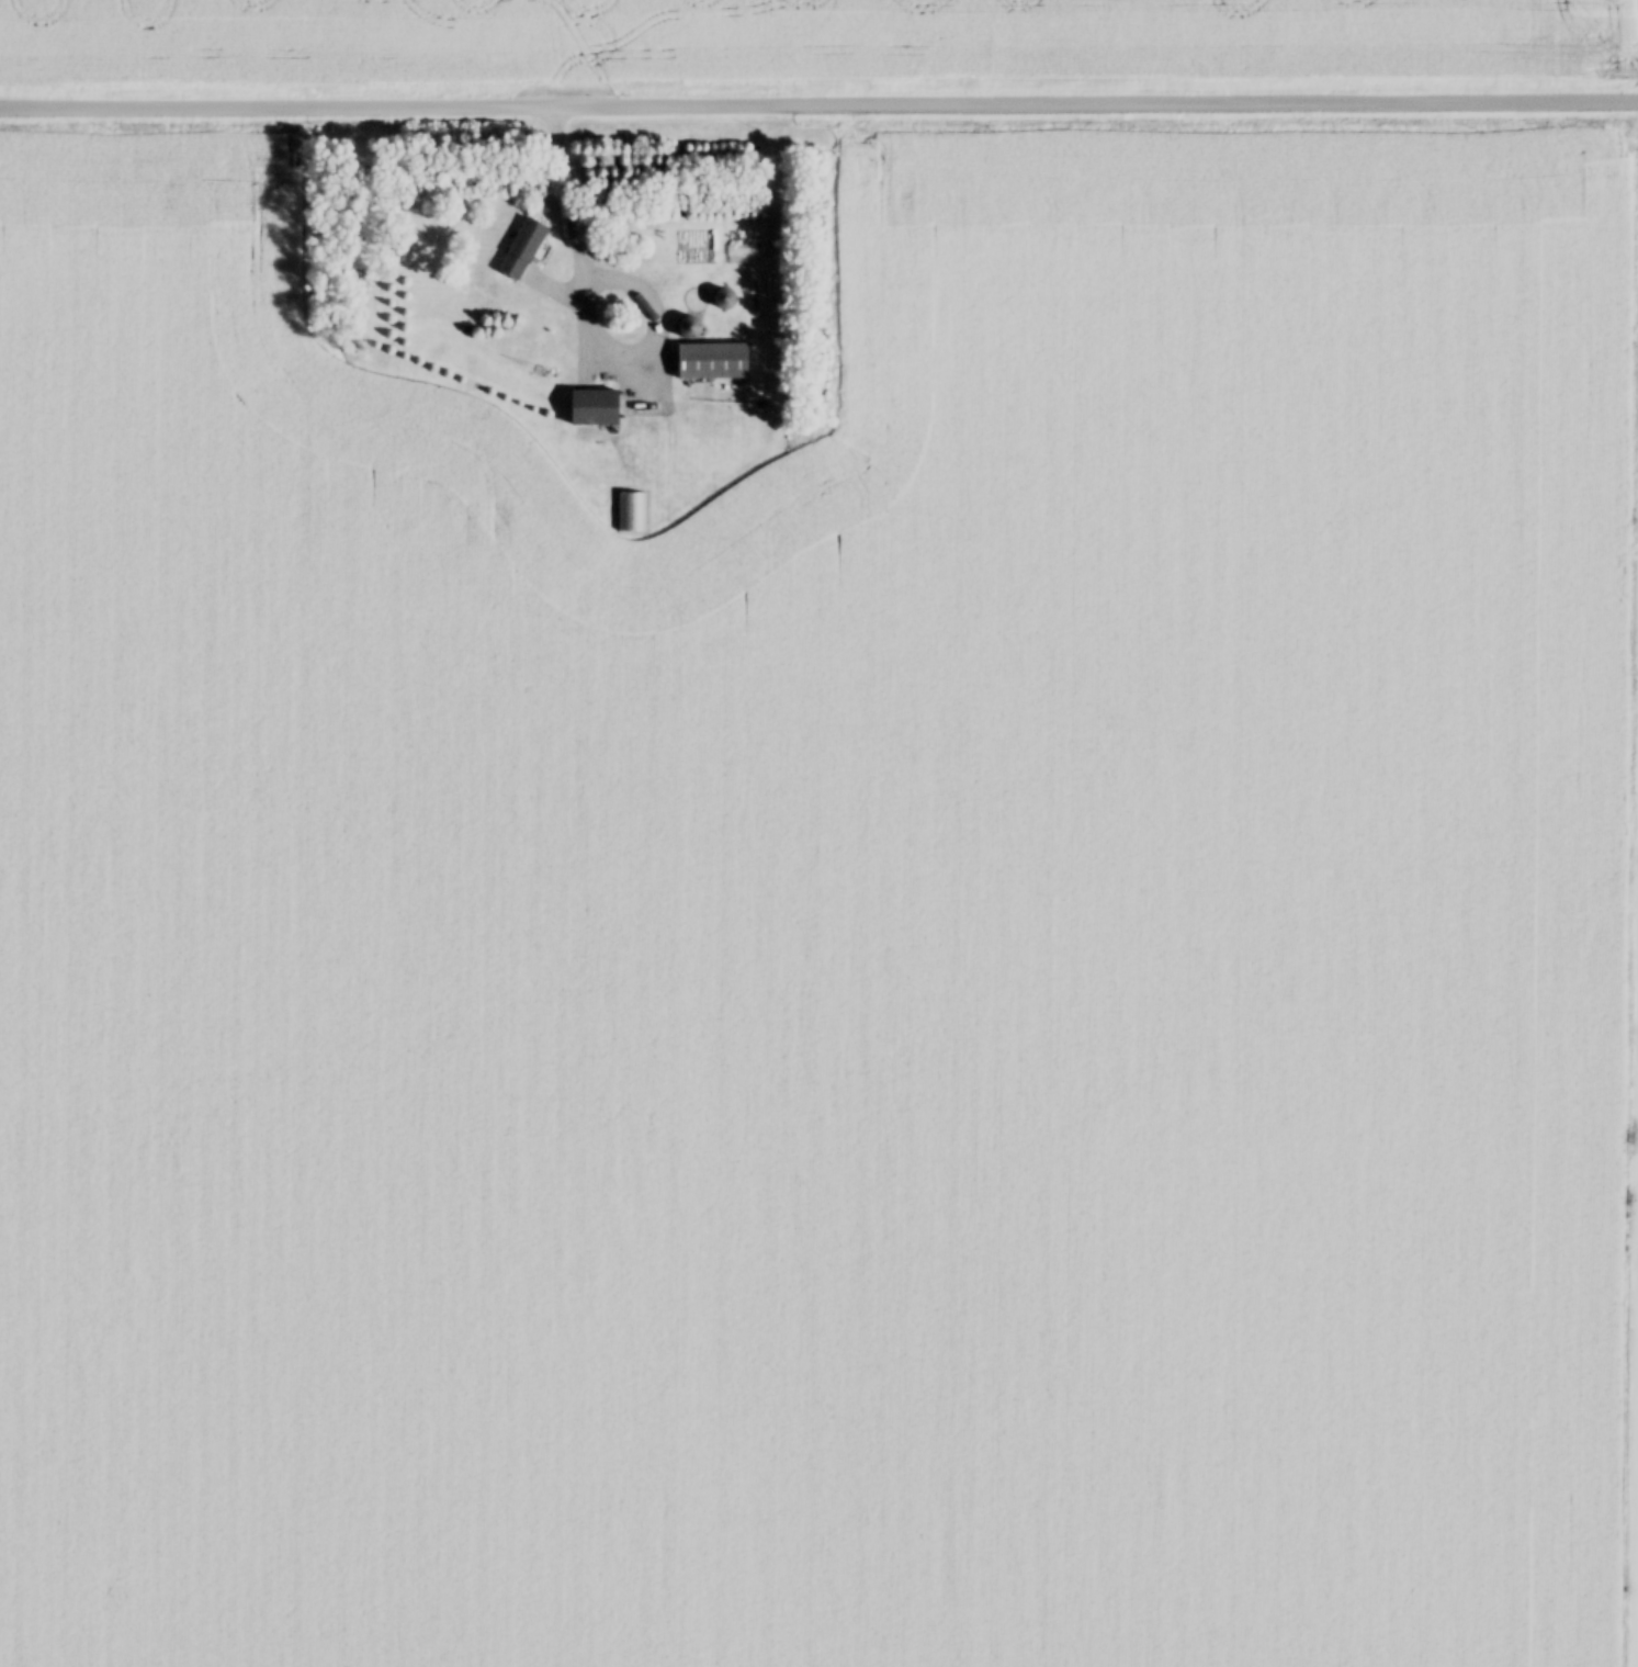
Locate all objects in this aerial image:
road: (818, 95)
building: (523, 247)
road: (588, 319)
building: (689, 326)
building: (713, 359)
building: (595, 405)
building: (631, 510)

